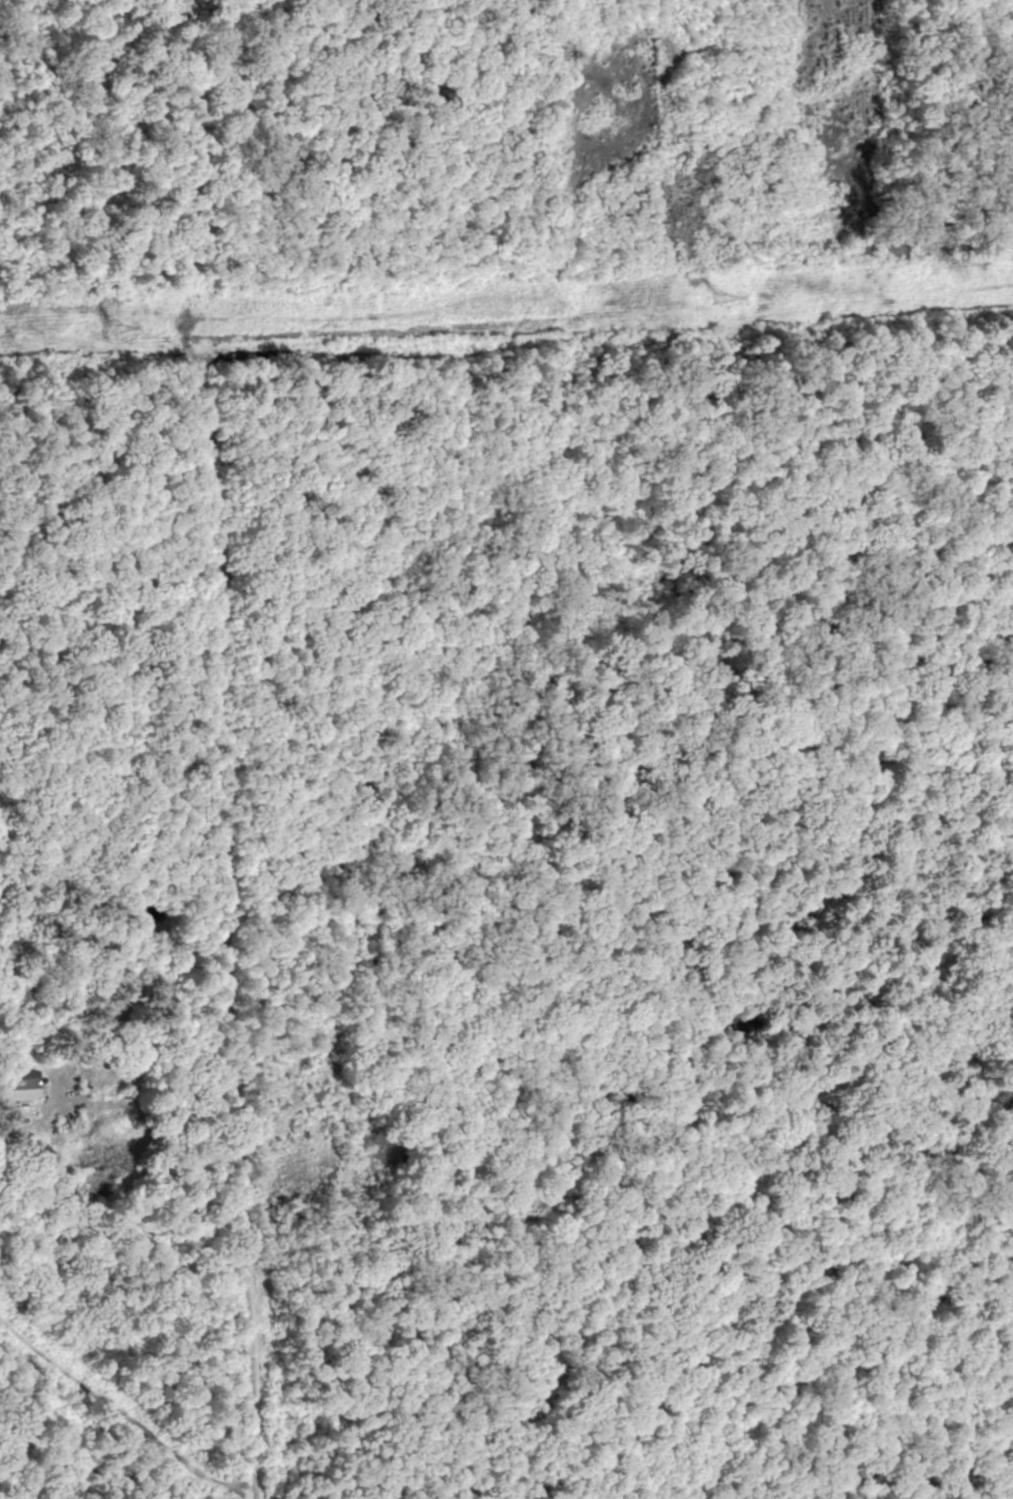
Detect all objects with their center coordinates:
power tower: (721, 298)
power tower: (122, 327)
road: (221, 906)
building: (18, 1086)

